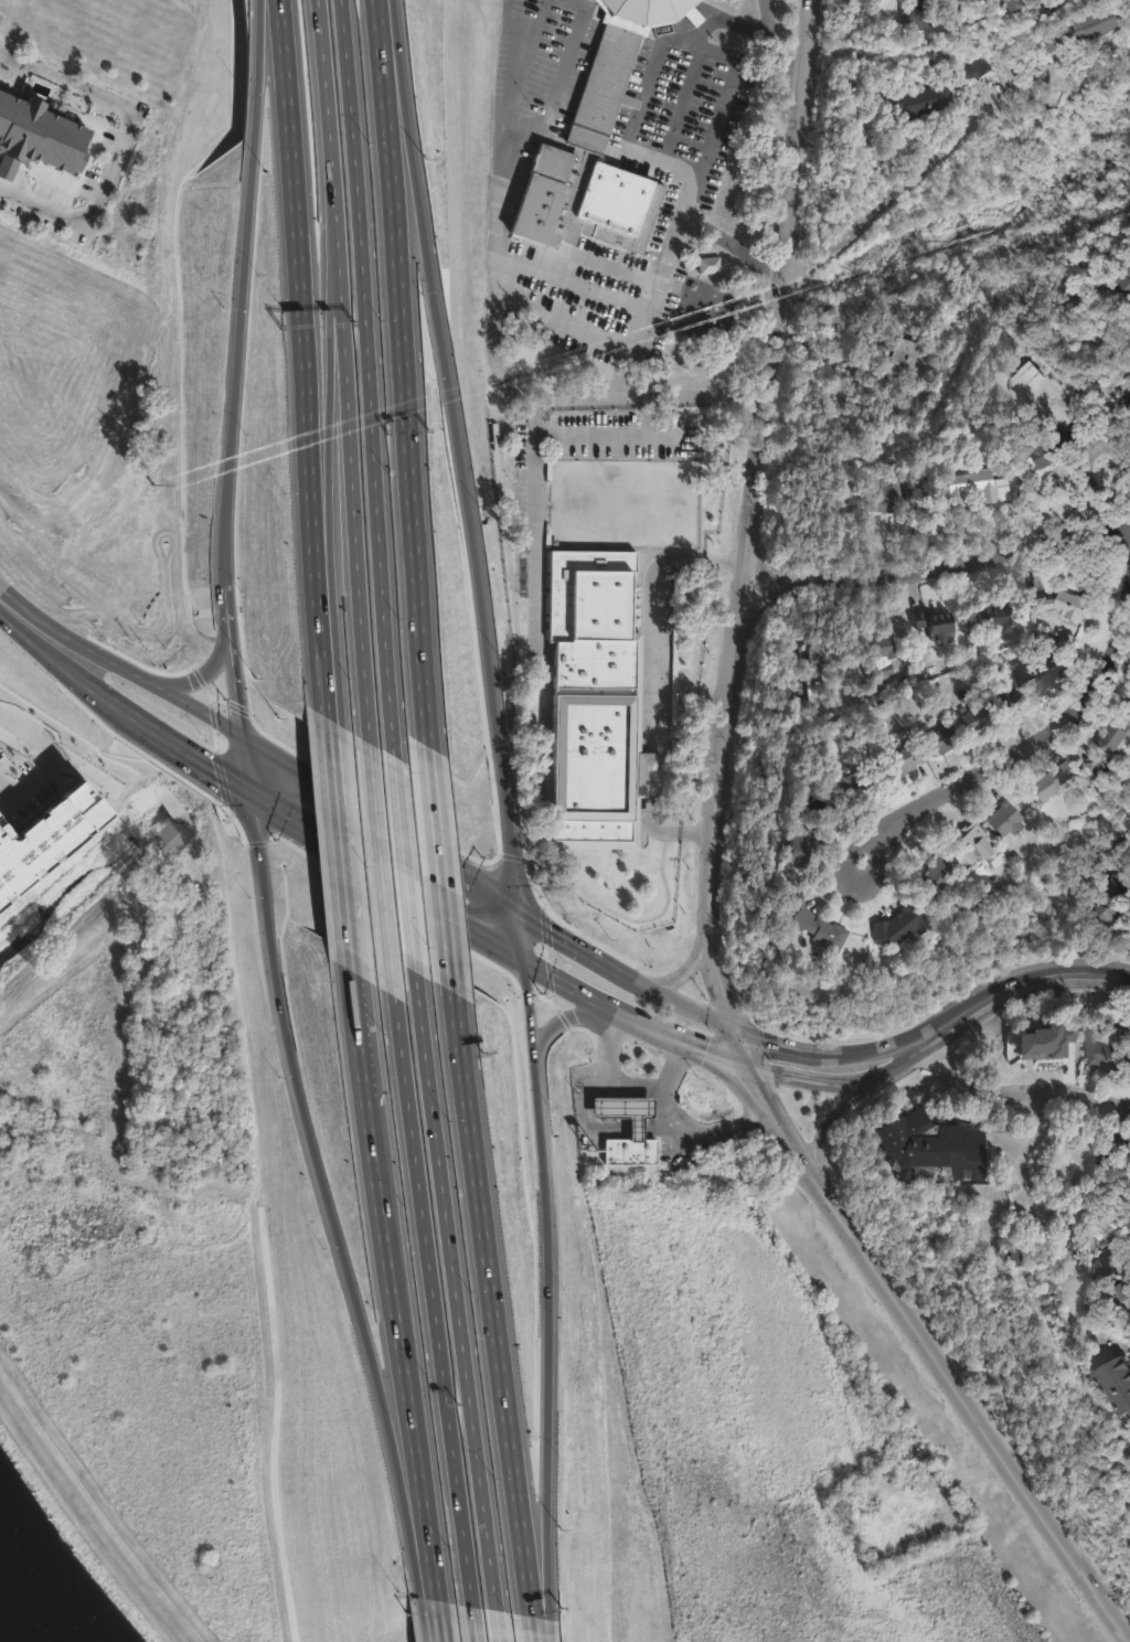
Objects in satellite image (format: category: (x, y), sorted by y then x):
building: (1013, 4)
building: (910, 14)
building: (1084, 30)
road: (691, 40)
road: (771, 42)
building: (972, 66)
road: (382, 90)
building: (920, 96)
road: (327, 106)
road: (505, 130)
road: (120, 140)
building: (40, 145)
building: (601, 148)
road: (894, 191)
road: (246, 212)
power tower: (923, 237)
building: (708, 265)
building: (1129, 271)
building: (706, 275)
road: (577, 285)
road: (640, 317)
power tower: (552, 358)
road: (300, 359)
building: (904, 360)
road: (369, 376)
road: (502, 377)
building: (1043, 378)
building: (1128, 407)
building: (987, 416)
road: (596, 436)
road: (409, 444)
building: (1057, 445)
road: (449, 455)
road: (533, 461)
road: (330, 465)
road: (351, 476)
power tower: (153, 484)
building: (976, 488)
building: (886, 494)
road: (225, 501)
road: (747, 537)
road: (938, 561)
road: (228, 603)
building: (1067, 605)
road: (29, 618)
building: (1002, 618)
building: (935, 625)
building: (815, 654)
building: (877, 657)
road: (207, 673)
road: (648, 676)
road: (77, 680)
building: (1038, 685)
road: (154, 686)
building: (1005, 699)
building: (1129, 706)
building: (596, 707)
road: (242, 711)
building: (974, 718)
building: (818, 726)
road: (1023, 732)
building: (1115, 736)
building: (940, 740)
traffic signals: (246, 742)
road: (179, 753)
road: (67, 754)
building: (904, 760)
building: (1101, 768)
building: (849, 775)
building: (1055, 780)
traffic signals: (247, 797)
building: (1006, 820)
road: (379, 825)
building: (42, 838)
building: (804, 839)
road: (430, 843)
building: (976, 849)
road: (340, 854)
road: (403, 862)
road: (380, 867)
building: (936, 879)
road: (385, 882)
building: (791, 887)
building: (979, 891)
building: (1112, 903)
traffic signals: (513, 909)
building: (978, 915)
building: (900, 926)
building: (819, 929)
road: (687, 966)
traffic signals: (524, 967)
road: (524, 973)
road: (1015, 981)
road: (566, 989)
road: (553, 1012)
road: (705, 1014)
road: (680, 1039)
road: (360, 1045)
building: (1107, 1053)
road: (671, 1068)
road: (841, 1081)
road: (625, 1085)
road: (1015, 1089)
building: (625, 1110)
gas station: (625, 1110)
road: (831, 1117)
road: (740, 1120)
road: (1034, 1138)
building: (932, 1148)
building: (630, 1150)
road: (320, 1187)
building: (1129, 1227)
building: (1112, 1265)
road: (455, 1290)
building: (1124, 1291)
road: (433, 1299)
road: (484, 1310)
road: (398, 1335)
road: (545, 1340)
road: (934, 1357)
building: (1117, 1382)
building: (912, 1461)
building: (877, 1472)
road: (435, 1606)
road: (472, 1623)
road: (497, 1625)

